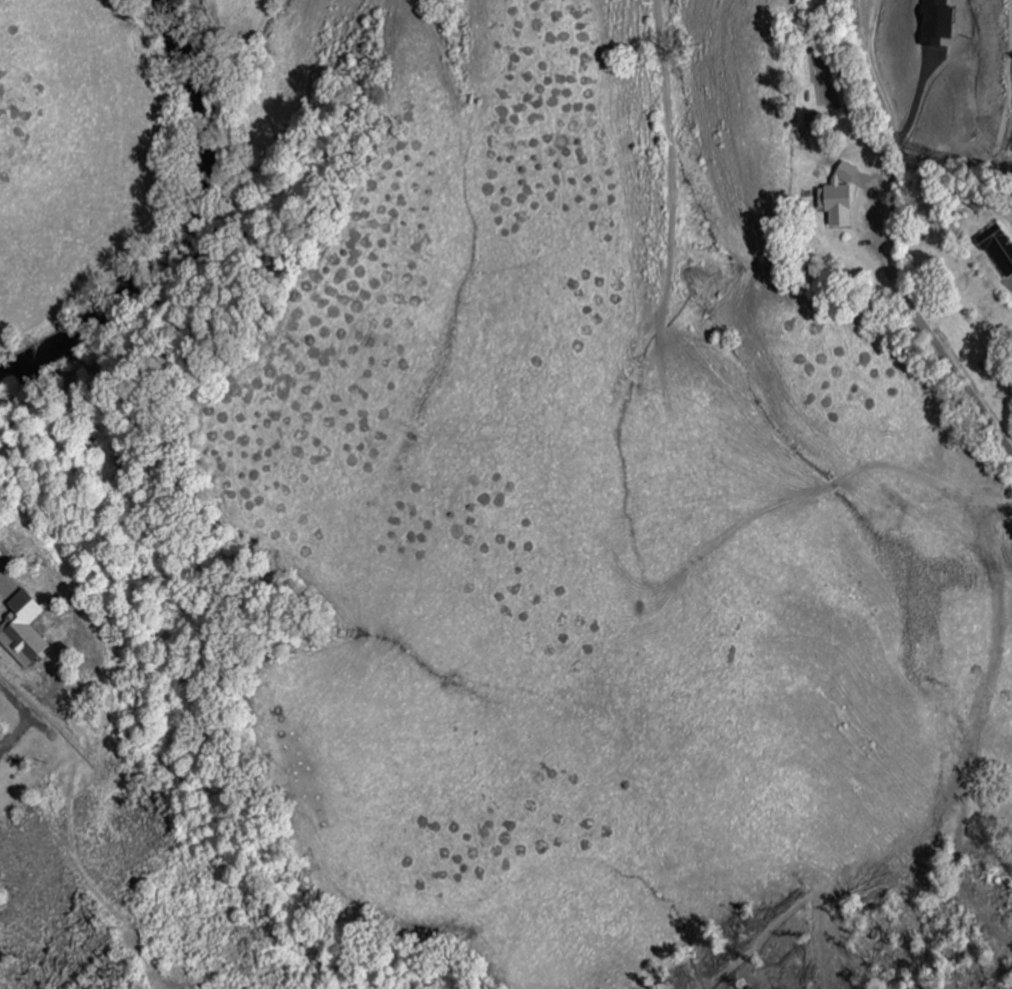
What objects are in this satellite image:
building: (935, 23)
building: (838, 197)
building: (997, 249)
road: (924, 325)
building: (24, 631)

